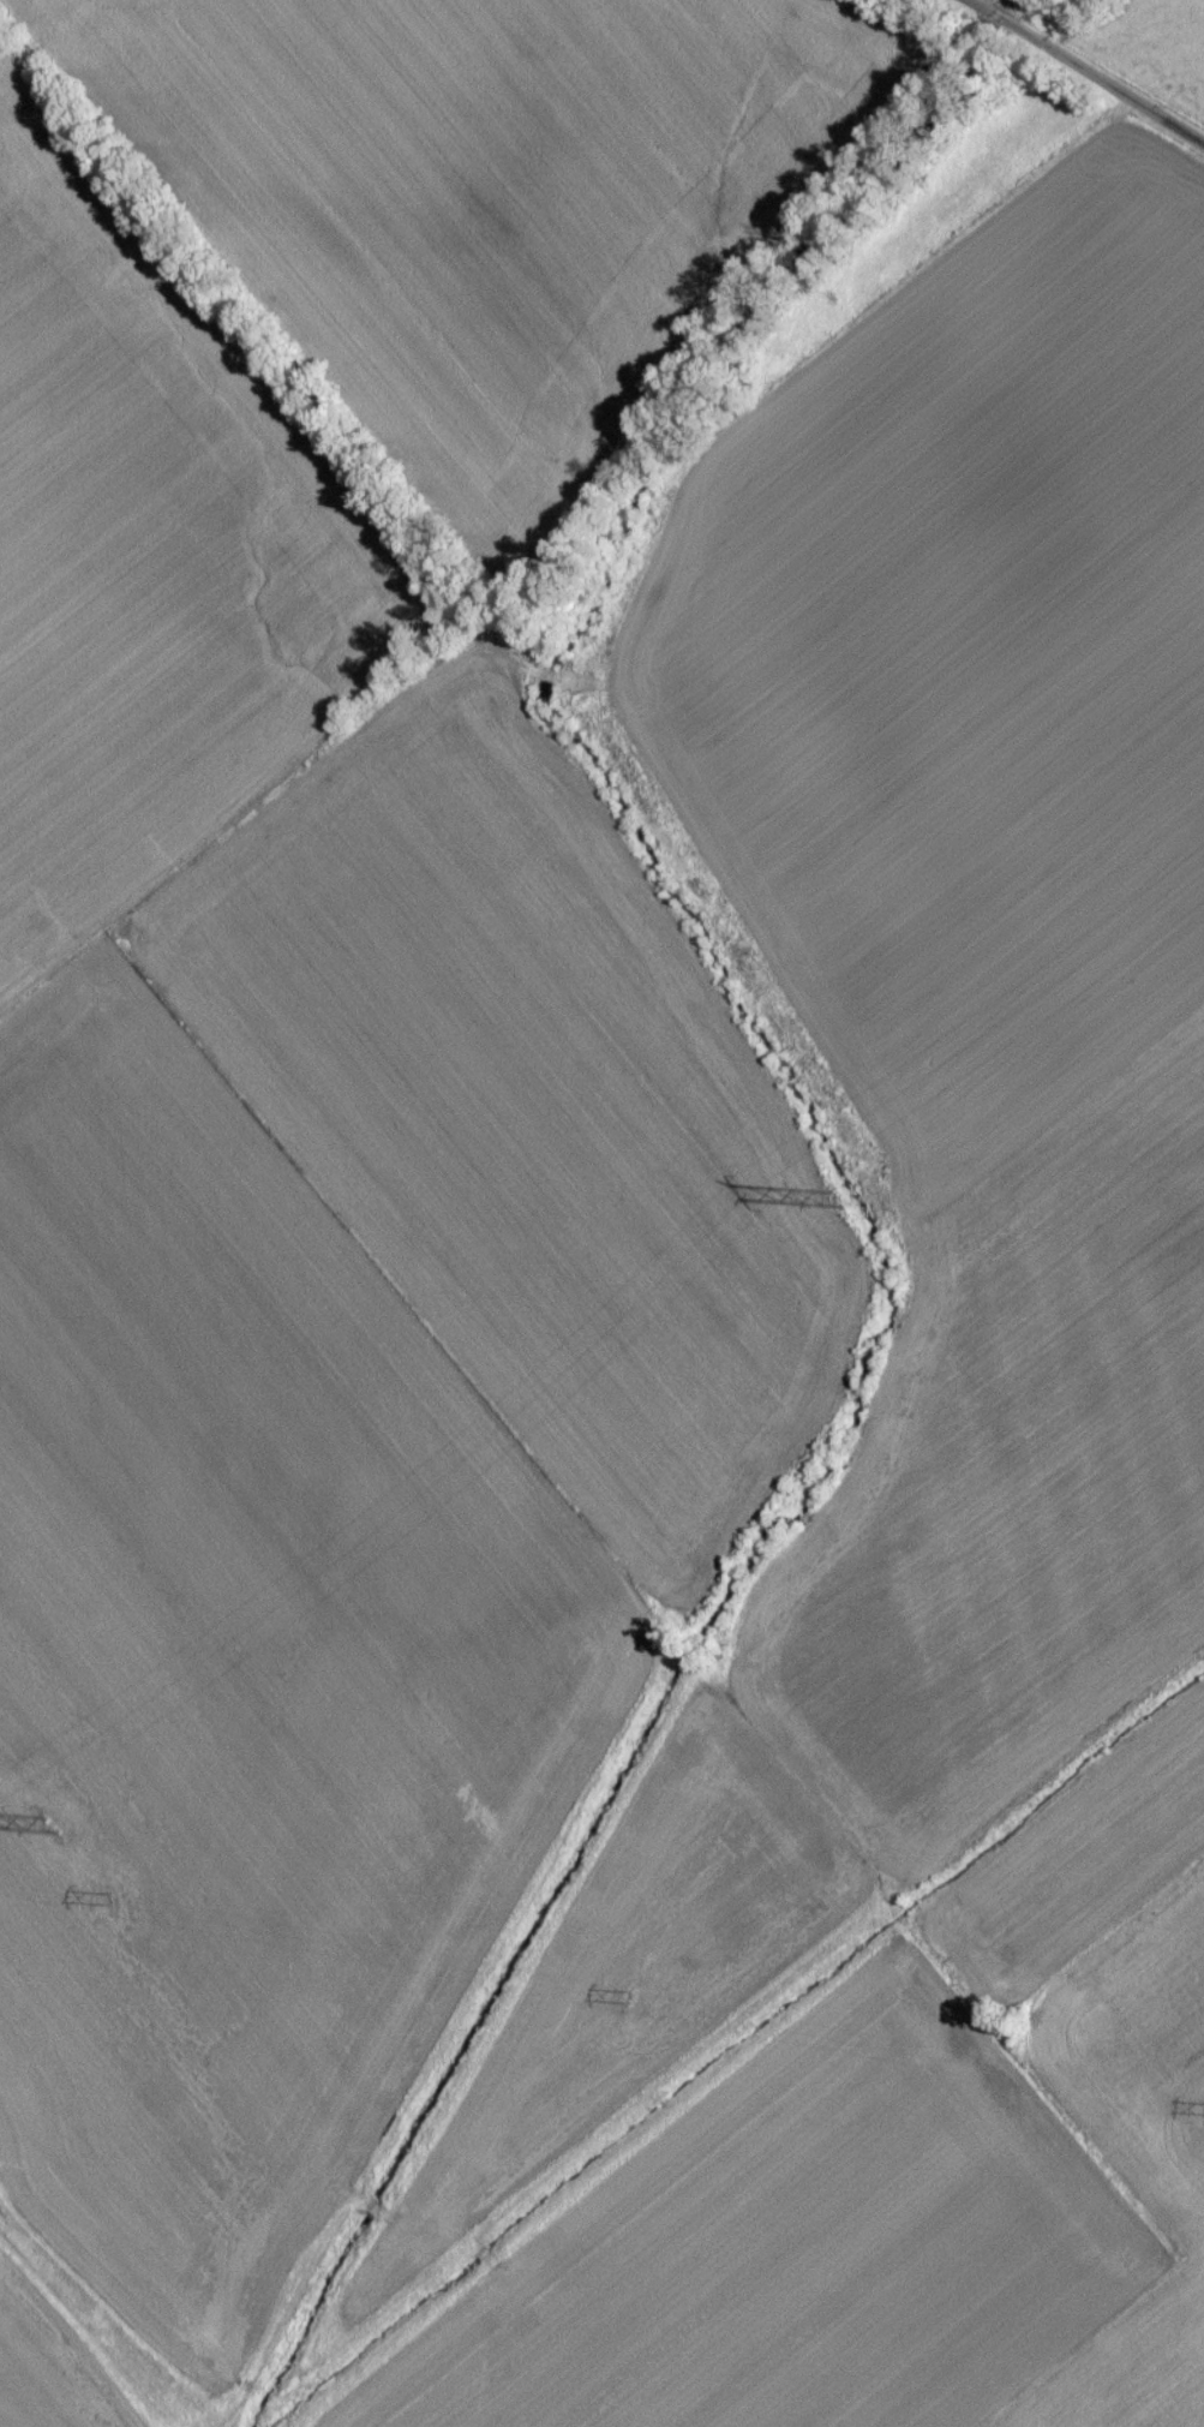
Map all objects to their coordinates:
road: (1082, 76)
power tower: (835, 1208)
power tower: (54, 1829)

